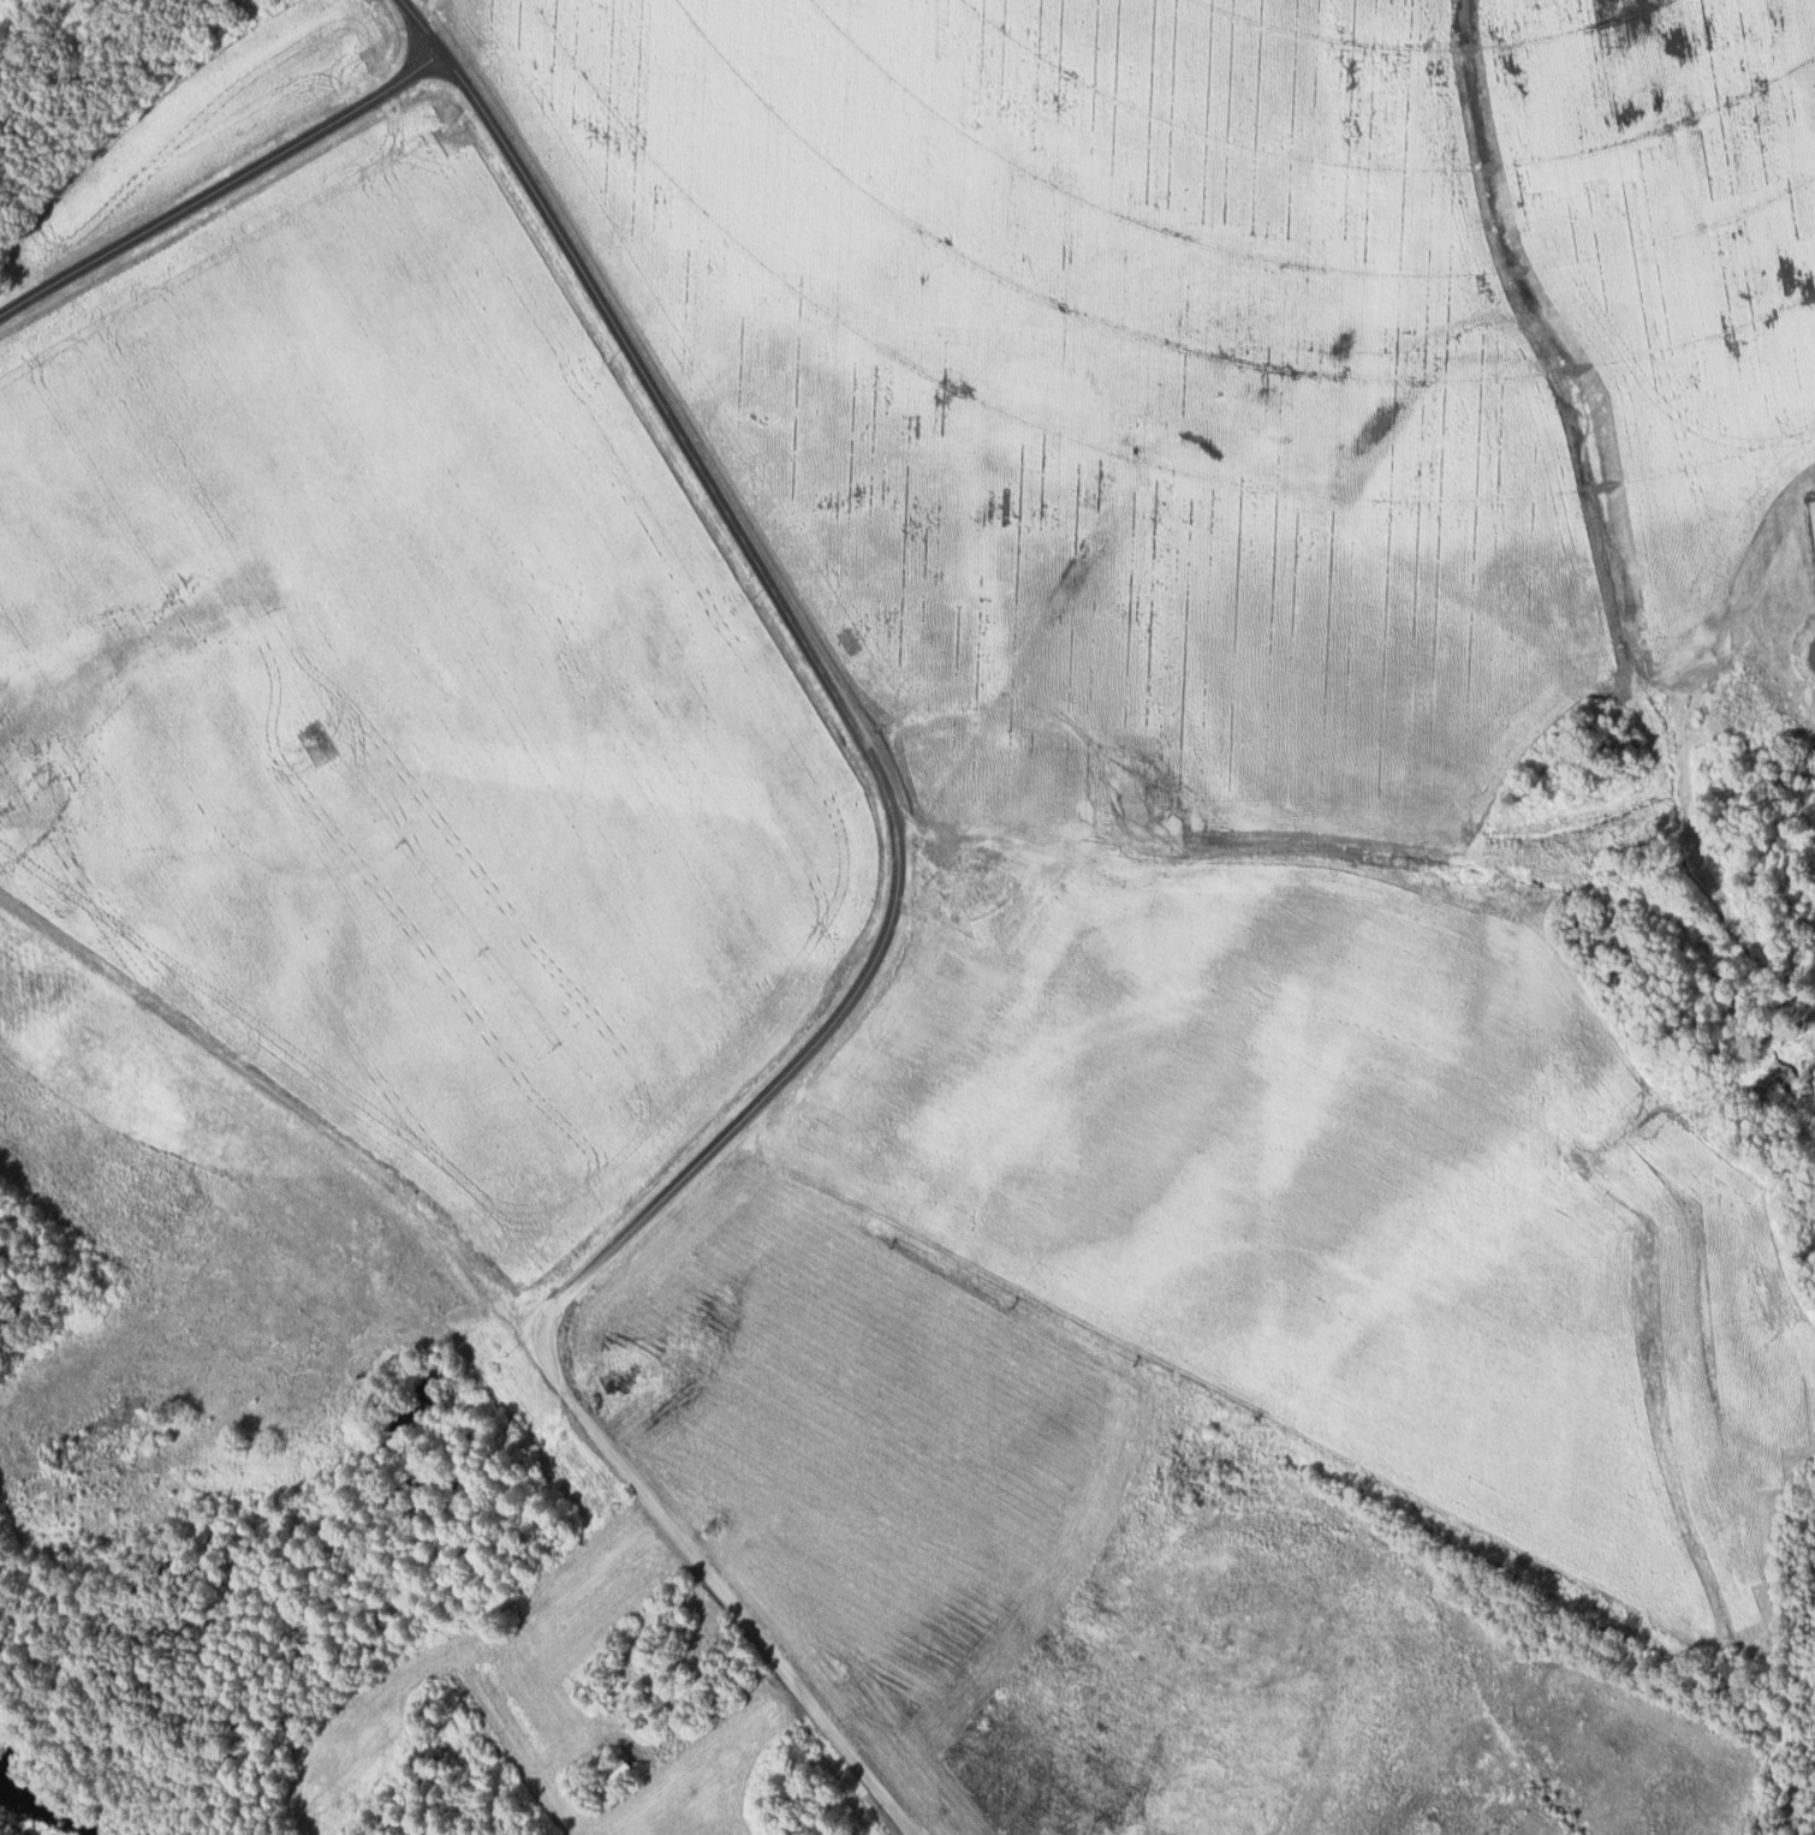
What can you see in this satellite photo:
road: (222, 189)
building: (1811, 519)
road: (870, 975)

